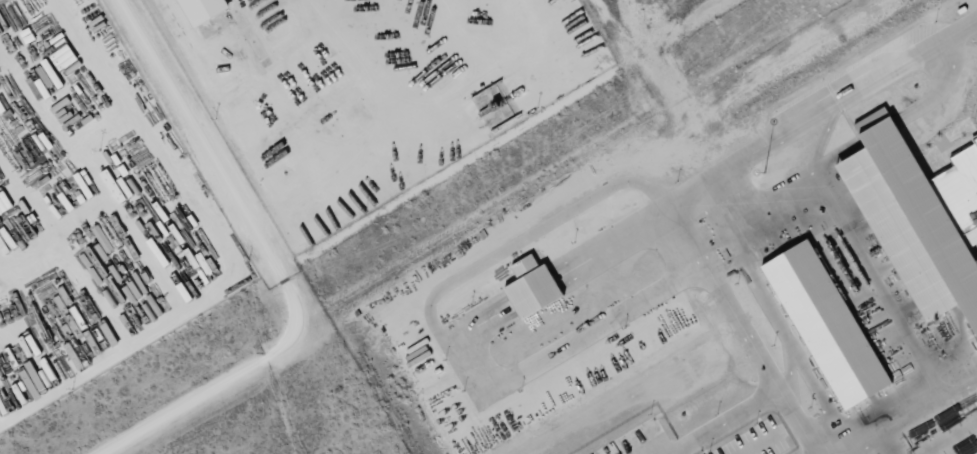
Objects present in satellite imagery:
building: (201, 10)
building: (66, 60)
building: (116, 187)
building: (4, 203)
building: (920, 216)
building: (532, 287)
building: (827, 324)
building: (32, 380)

